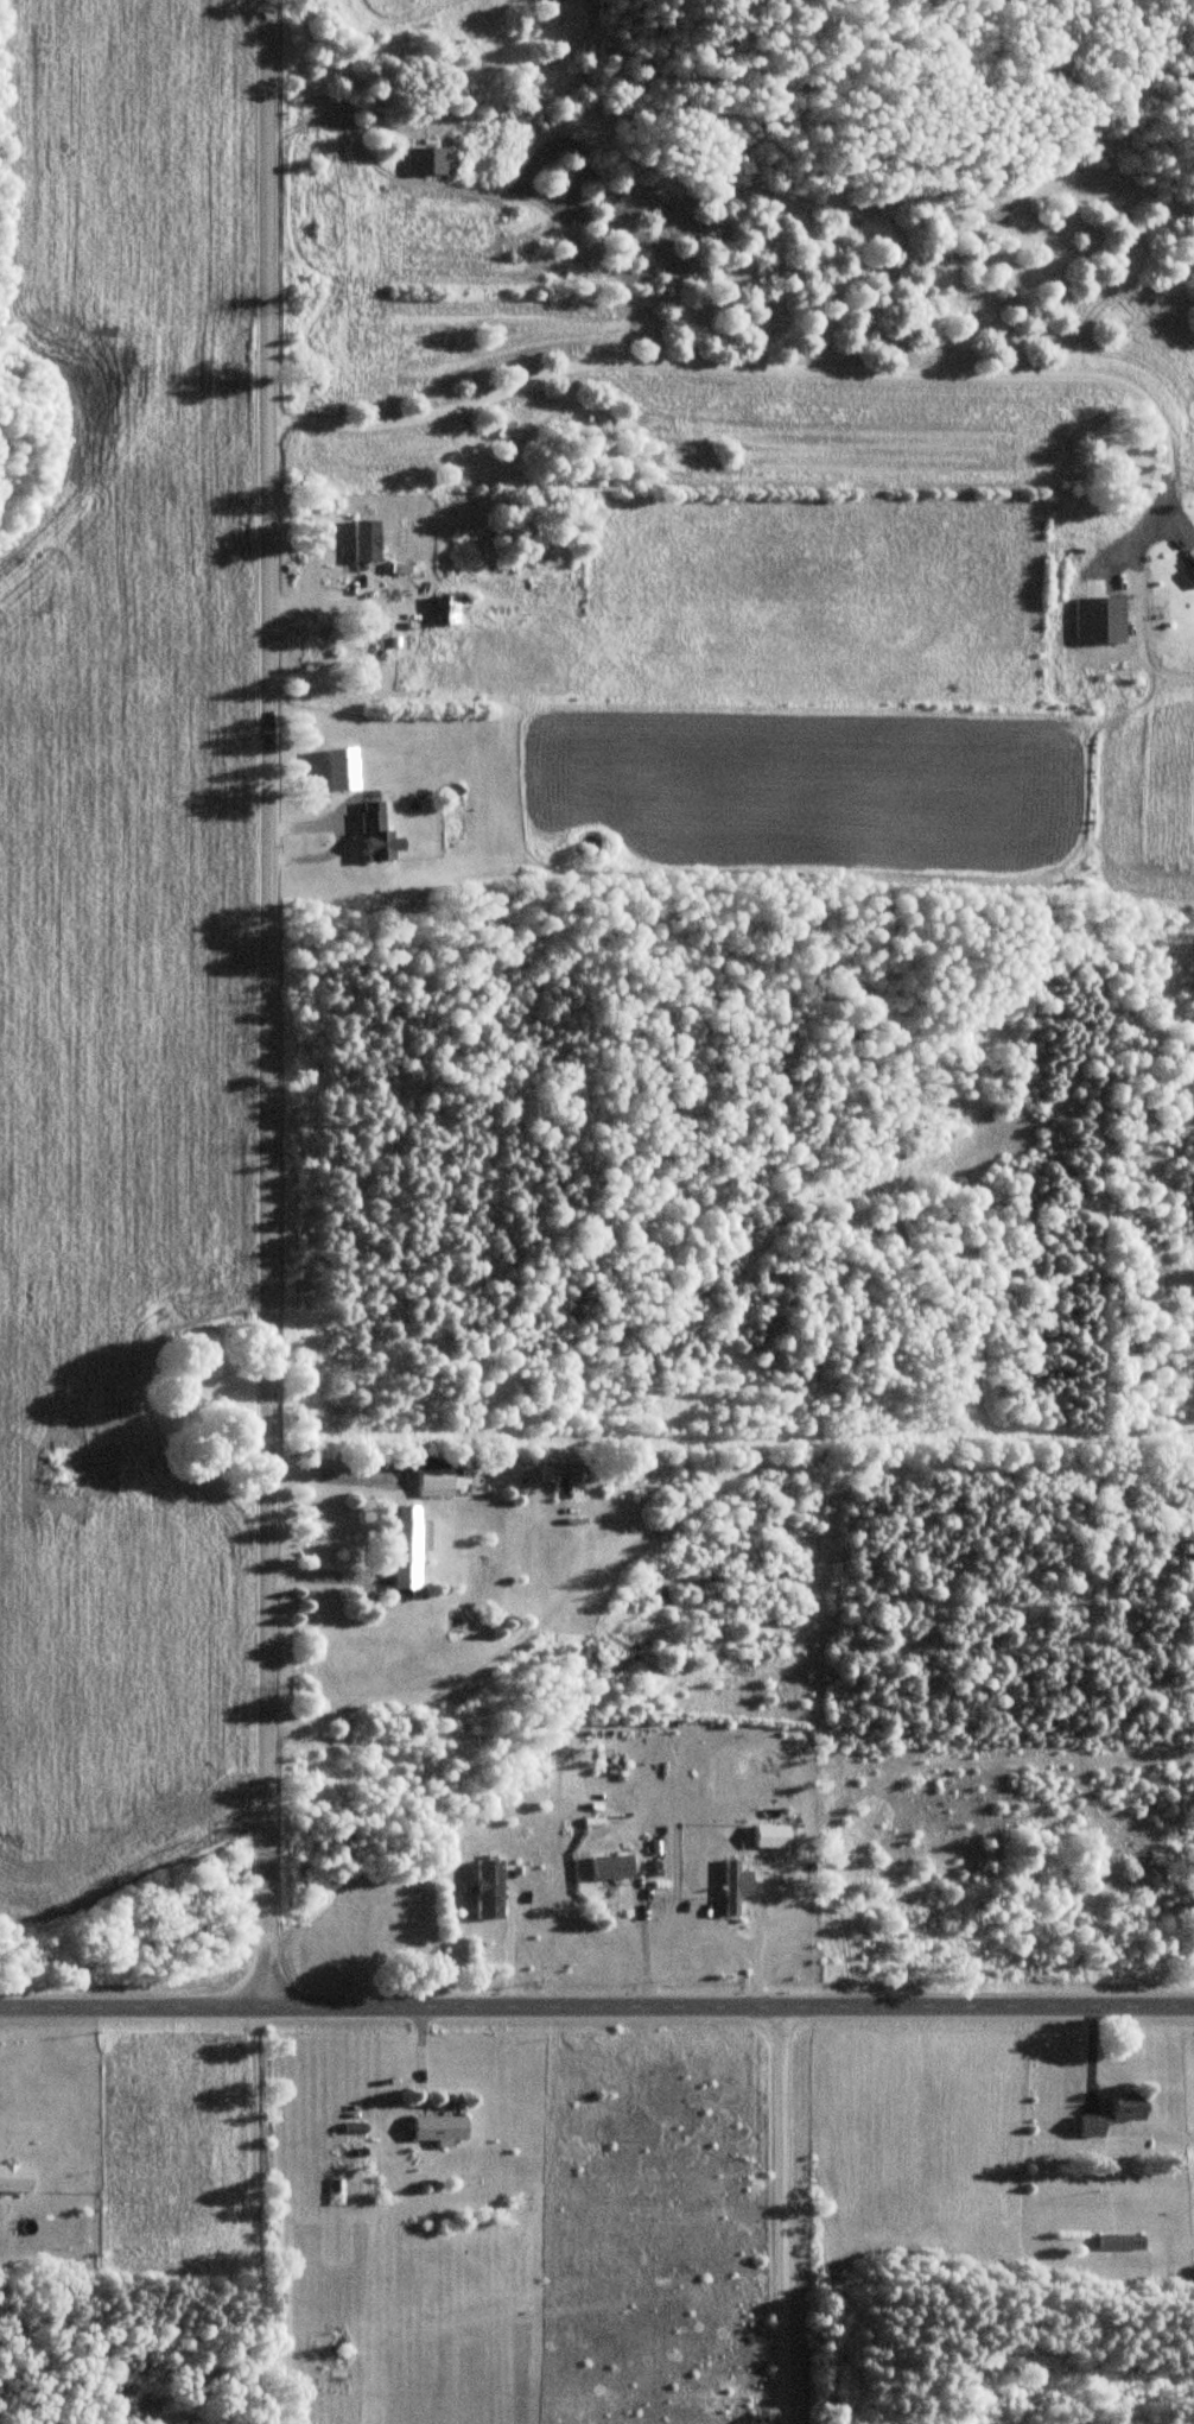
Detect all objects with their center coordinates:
building: (430, 162)
road: (794, 373)
building: (364, 542)
building: (1193, 571)
building: (450, 610)
building: (1099, 621)
building: (376, 835)
road: (266, 1001)
building: (433, 1476)
road: (330, 1480)
building: (407, 1551)
building: (773, 1837)
building: (611, 1885)
building: (730, 1888)
building: (489, 1890)
road: (596, 2004)
building: (1112, 2116)
building: (438, 2128)
building: (14, 2179)
road: (271, 2214)
road: (779, 2214)
building: (1119, 2243)

